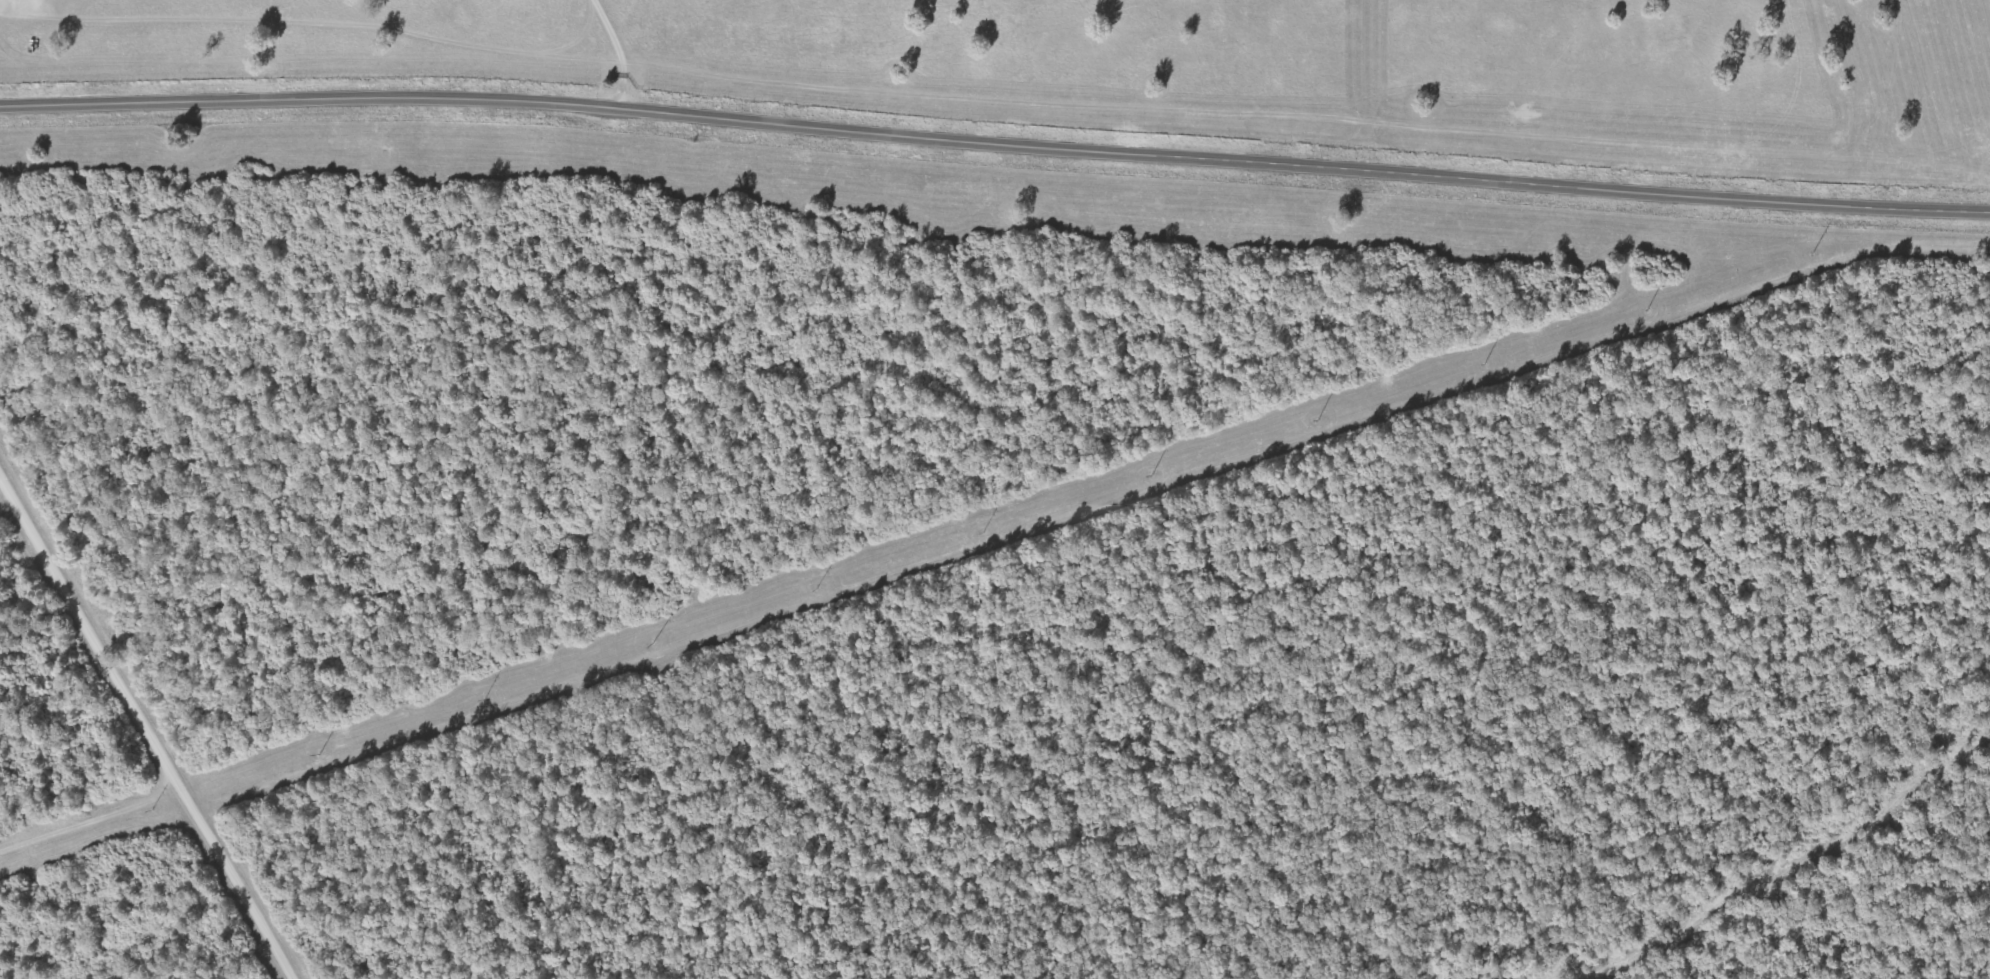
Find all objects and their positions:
road: (995, 143)
road: (147, 728)

